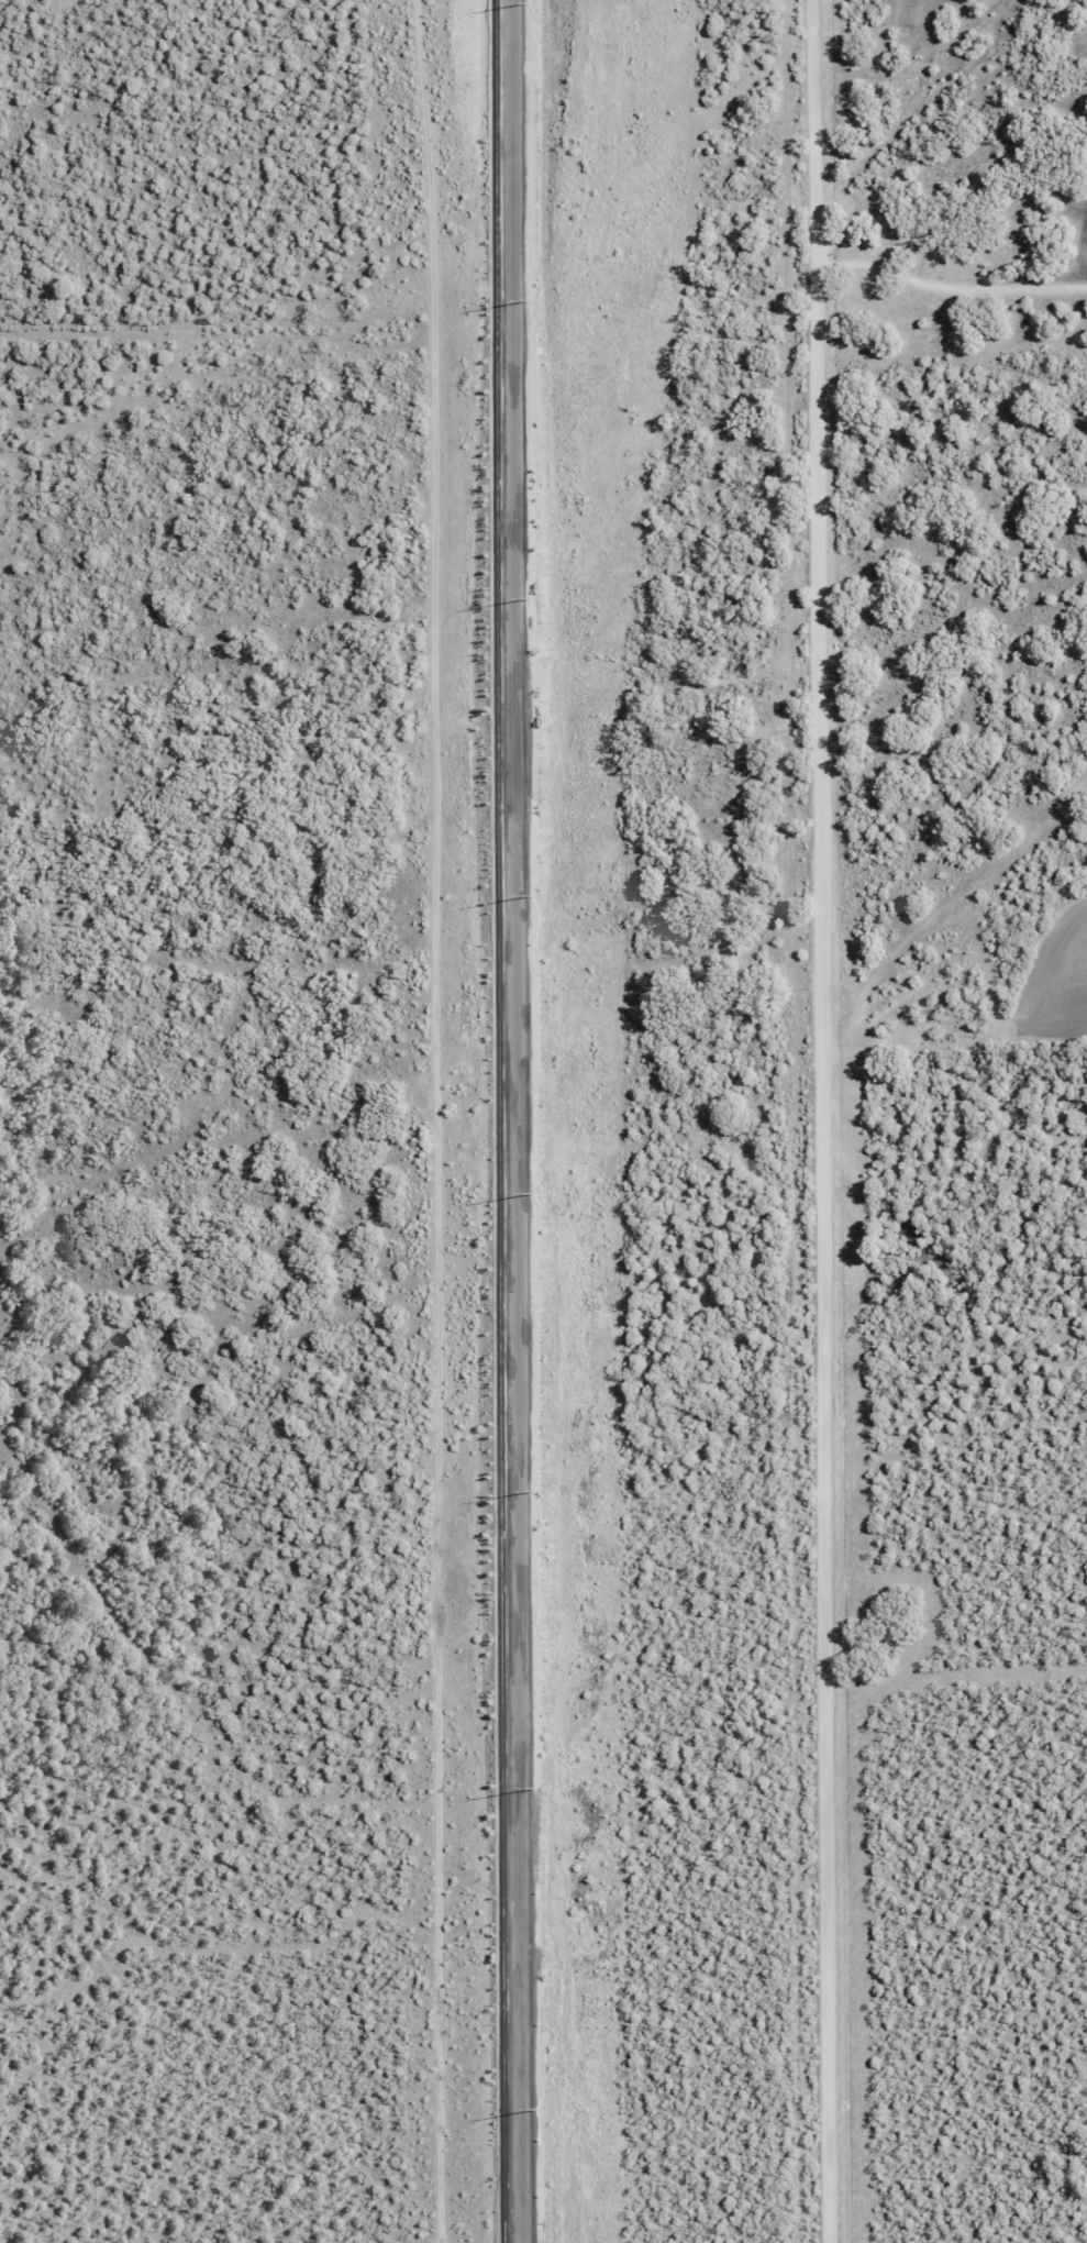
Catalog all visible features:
power tower: (528, 3)
power tower: (530, 299)
power tower: (532, 597)
road: (923, 716)
power tower: (533, 894)
road: (940, 952)
road: (825, 1120)
railway: (502, 1121)
road: (520, 1121)
power tower: (534, 1194)
power tower: (535, 1492)
road: (865, 1658)
power tower: (536, 1789)
power tower: (537, 2109)

